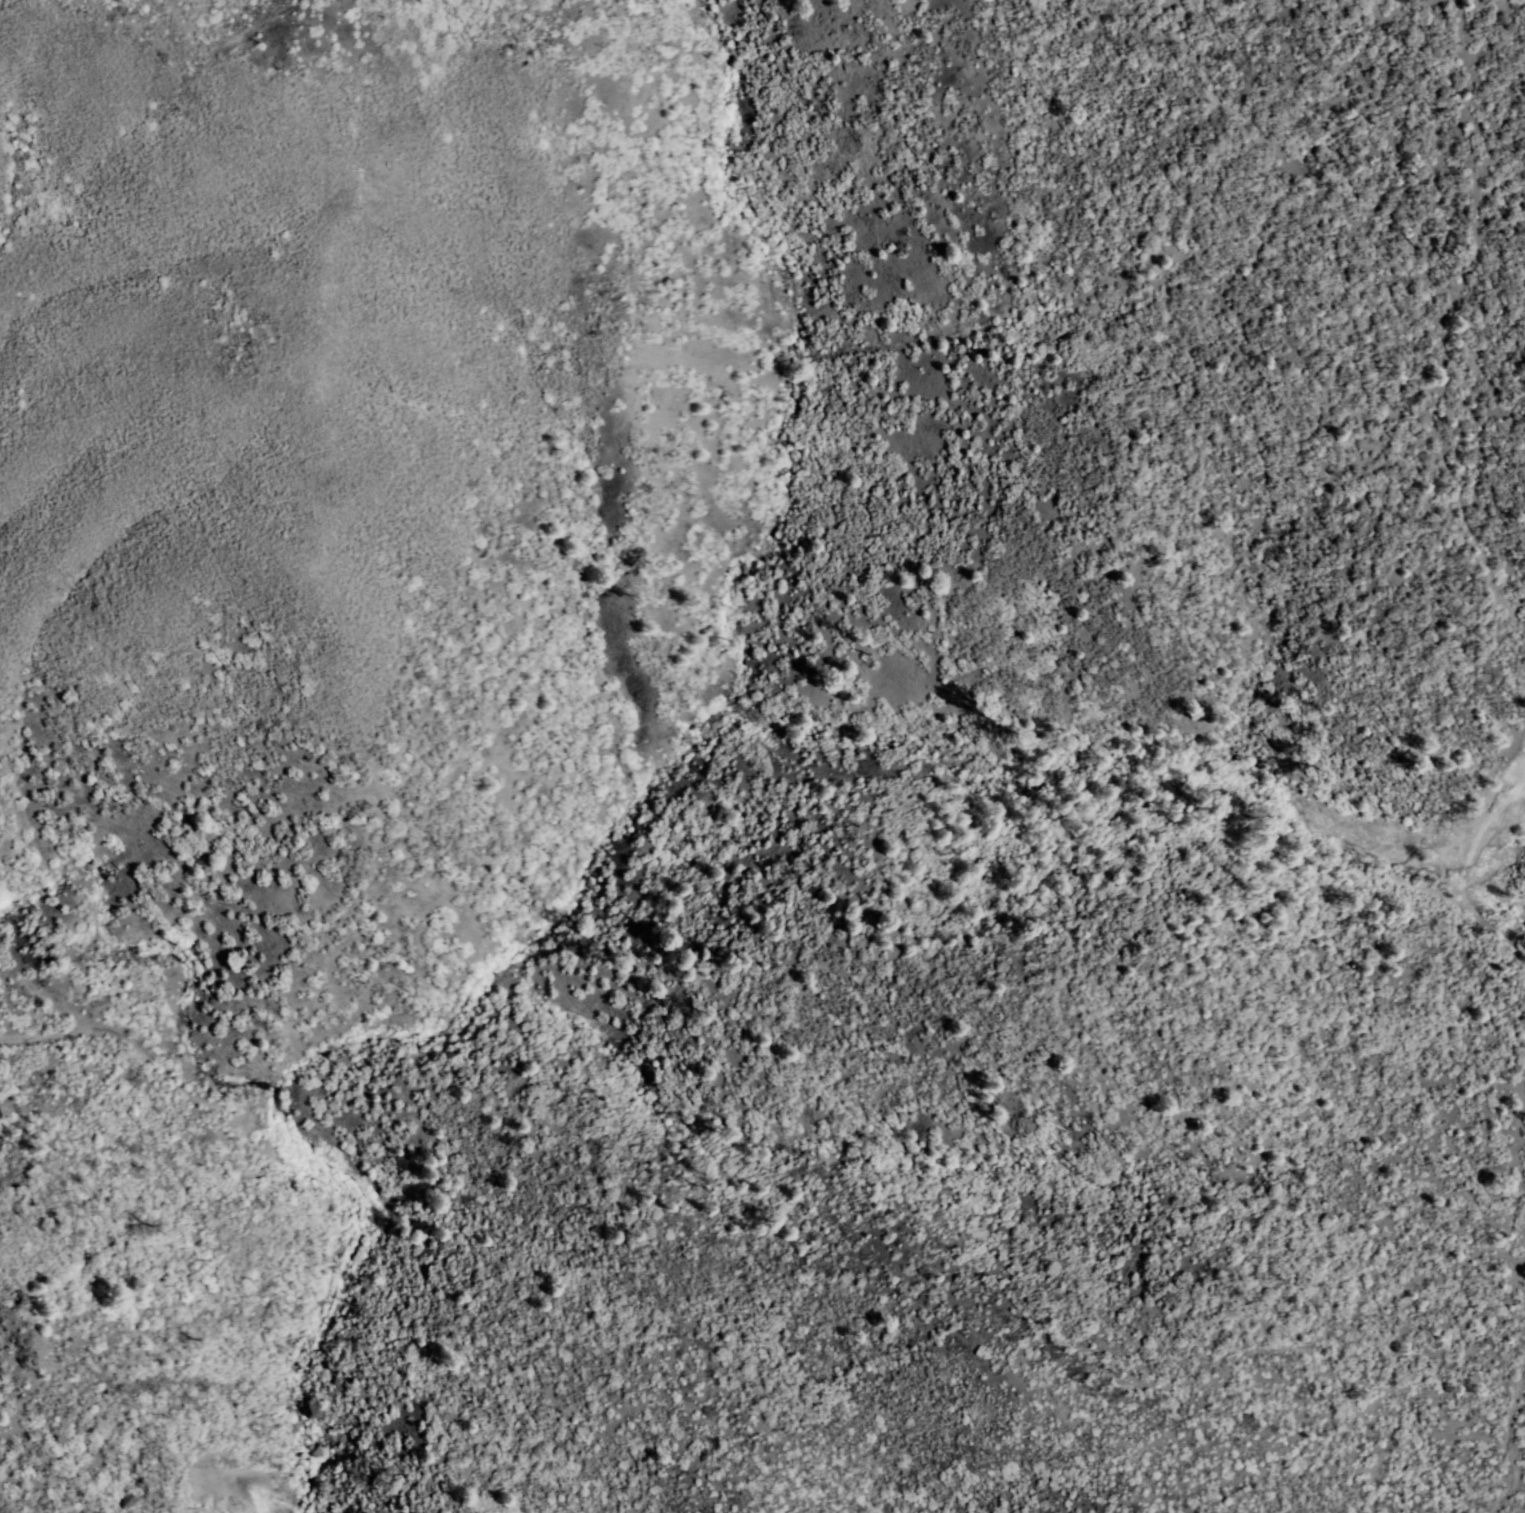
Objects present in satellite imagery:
road: (1508, 1439)

